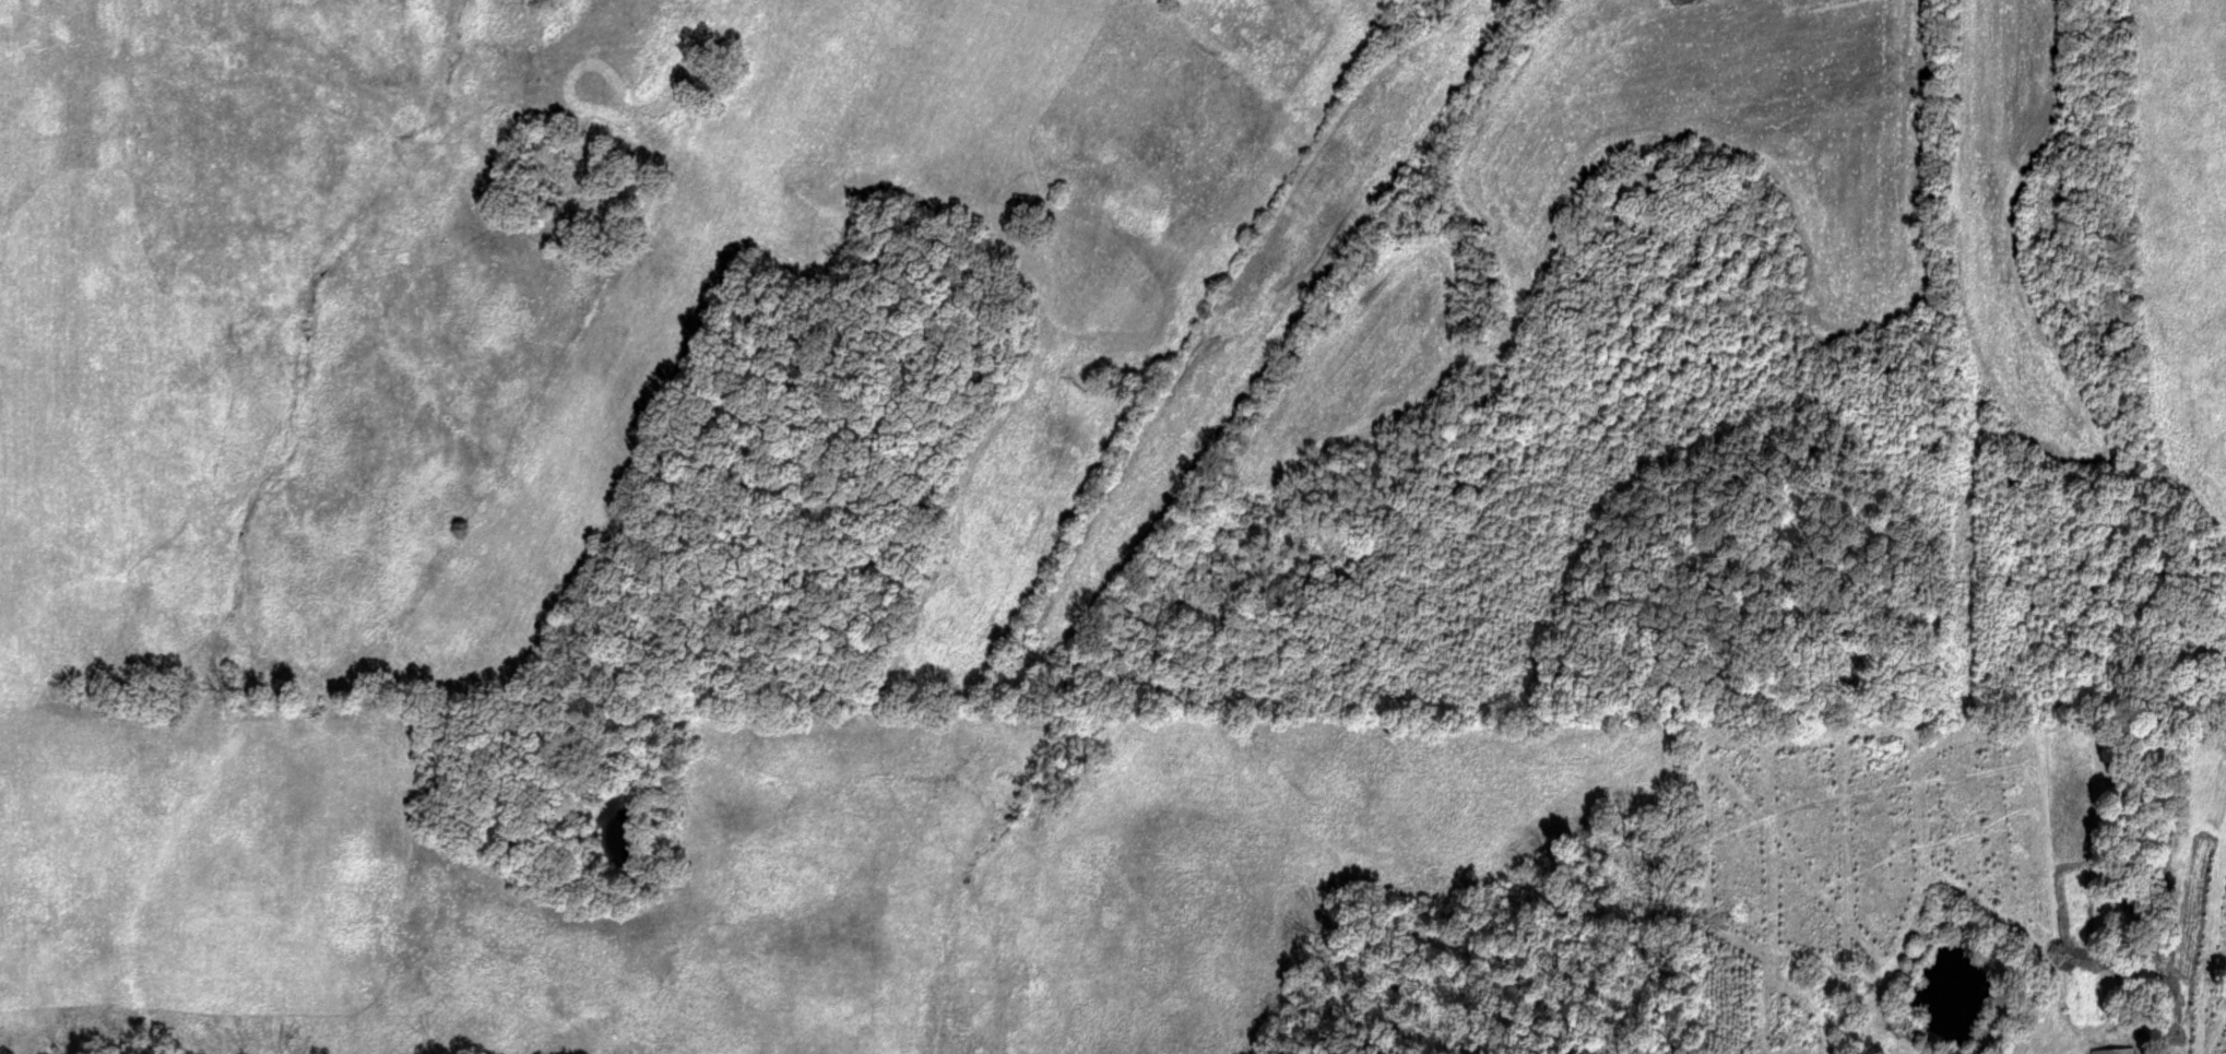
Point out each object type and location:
building: (2115, 1051)

